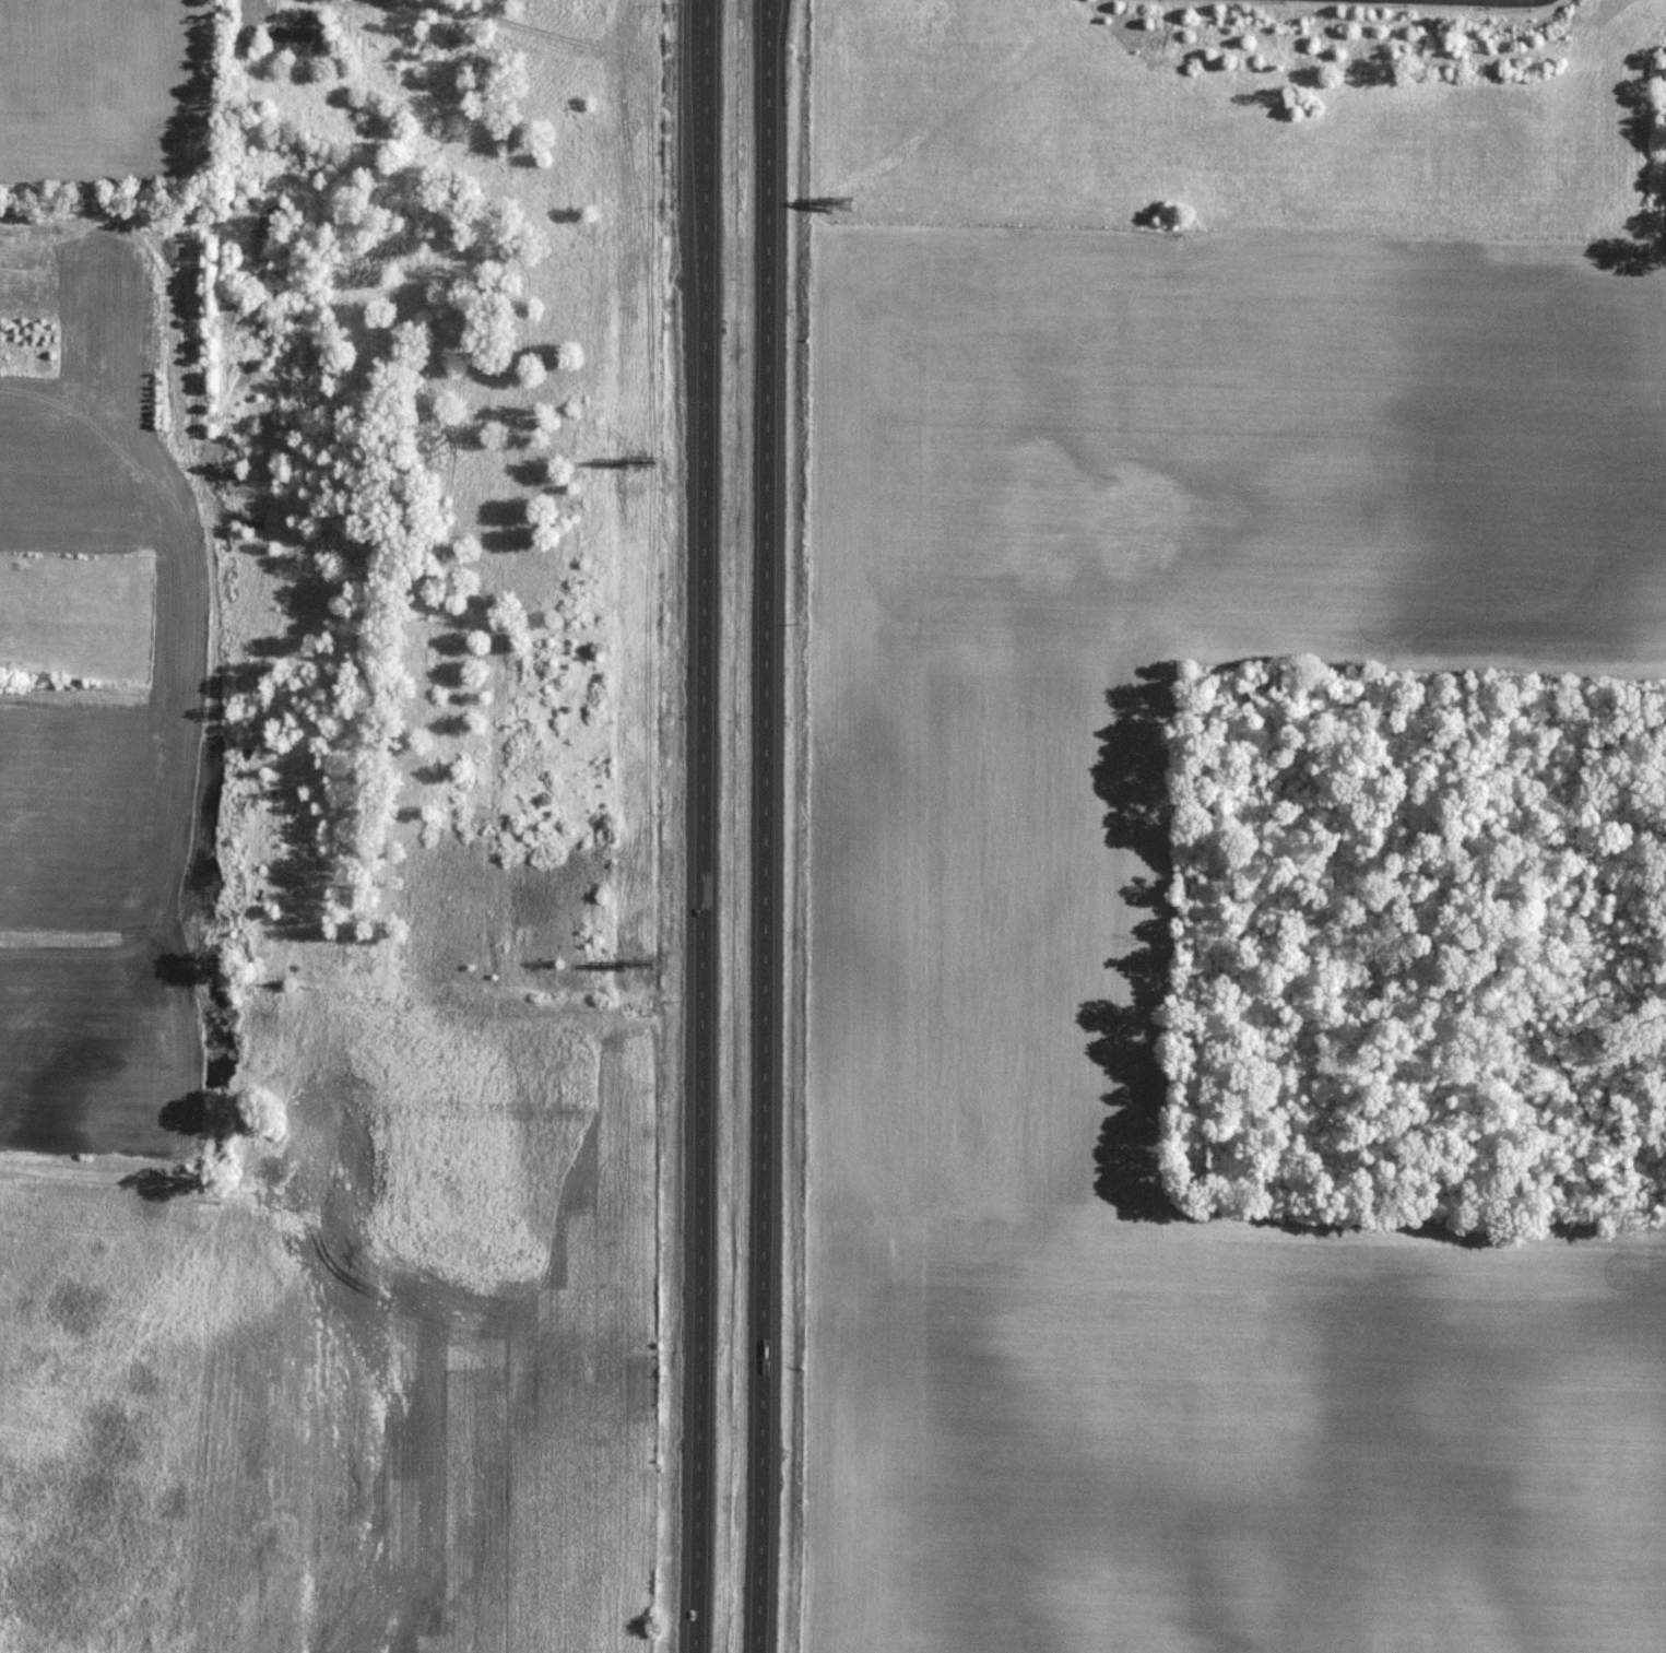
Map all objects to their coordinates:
road: (699, 826)
road: (772, 826)

